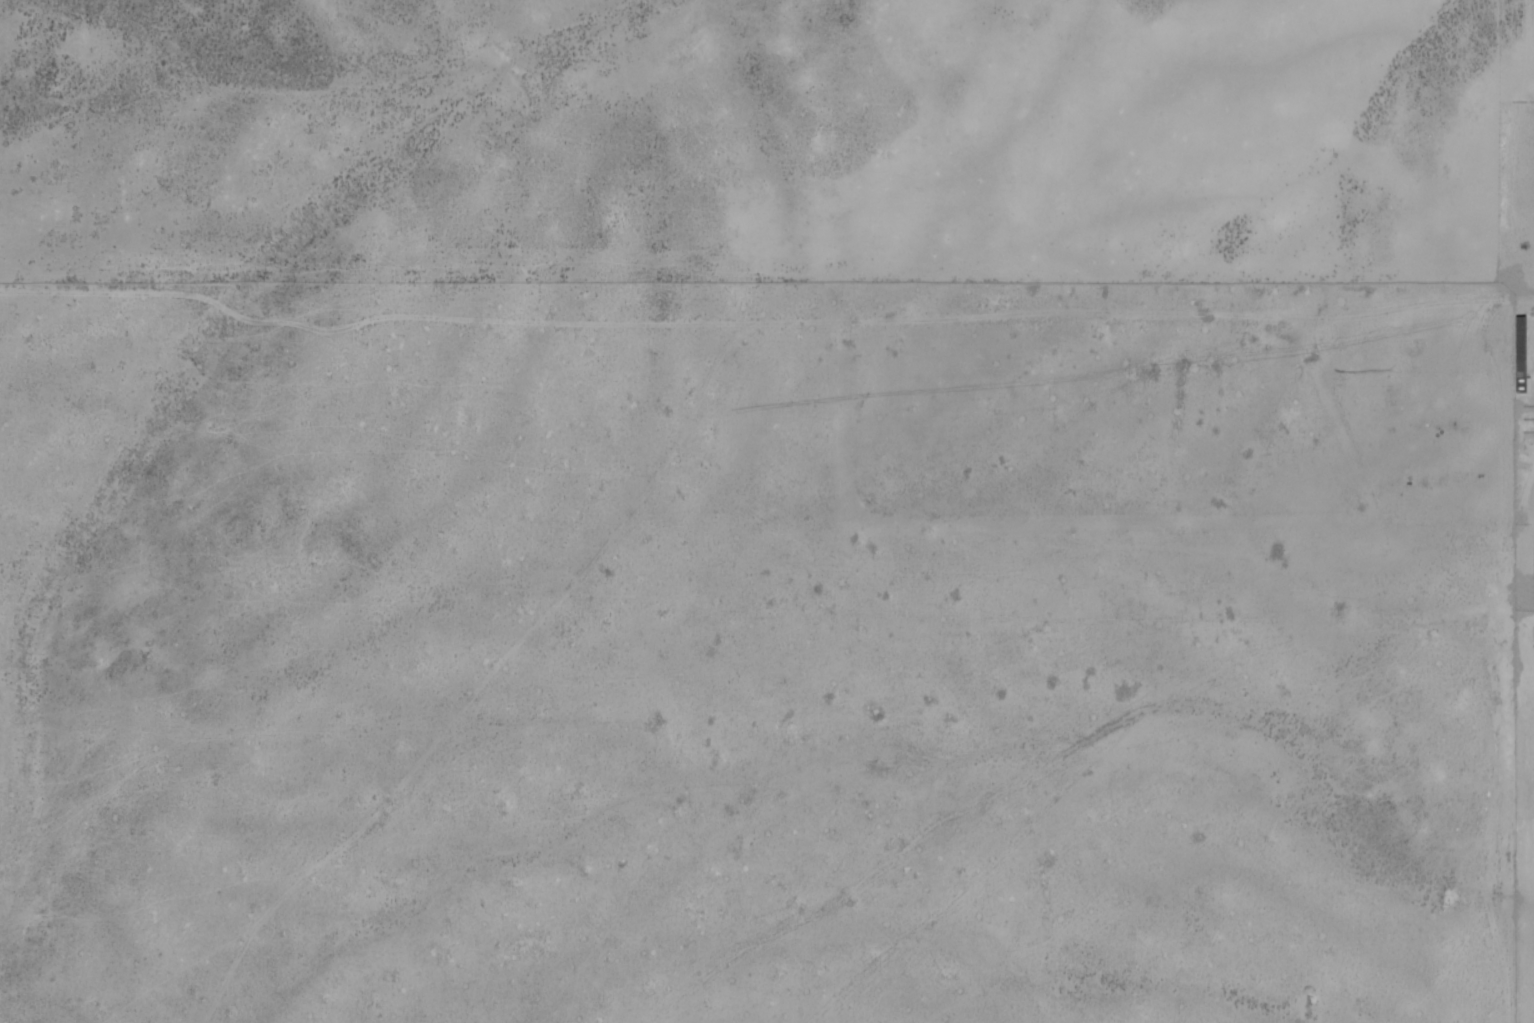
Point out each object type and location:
road: (1522, 511)

